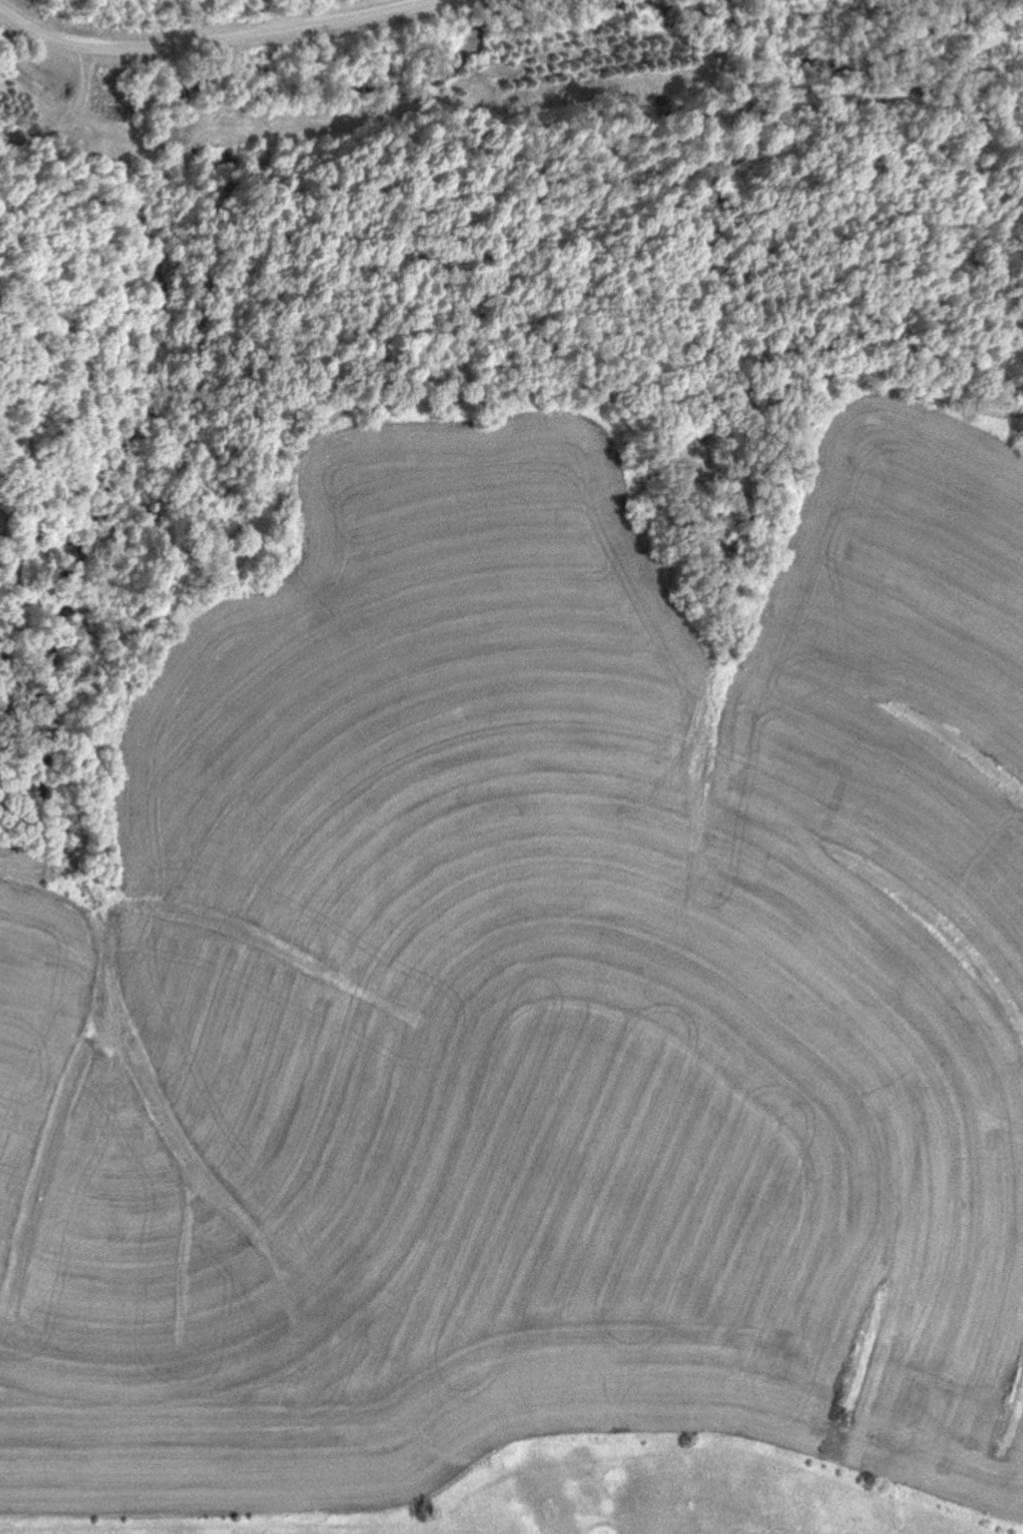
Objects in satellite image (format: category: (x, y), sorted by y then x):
road: (216, 41)
road: (70, 121)

